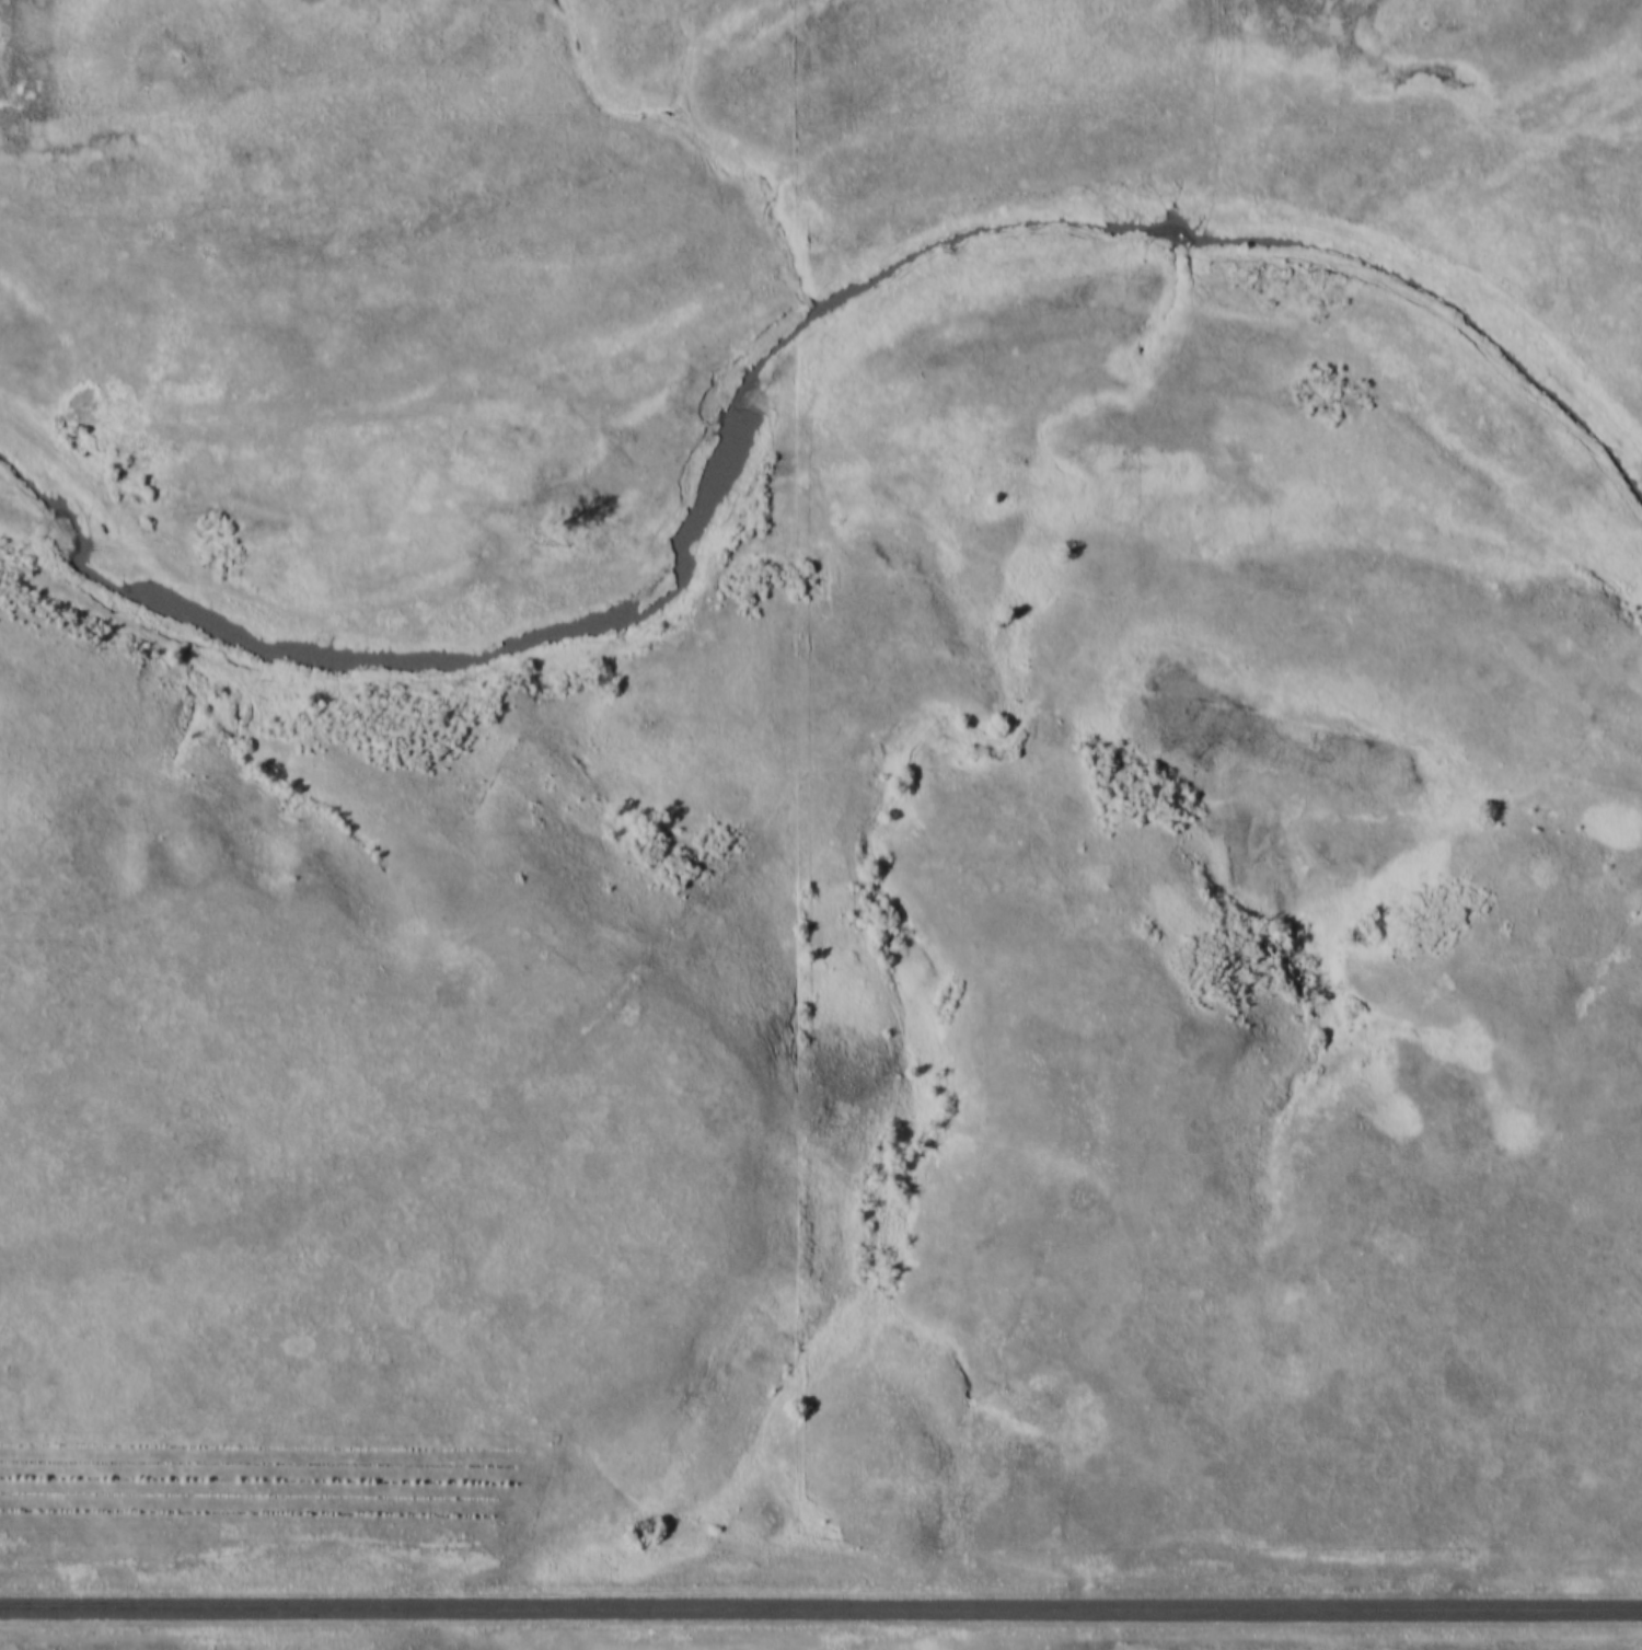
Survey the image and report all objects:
road: (820, 1614)

